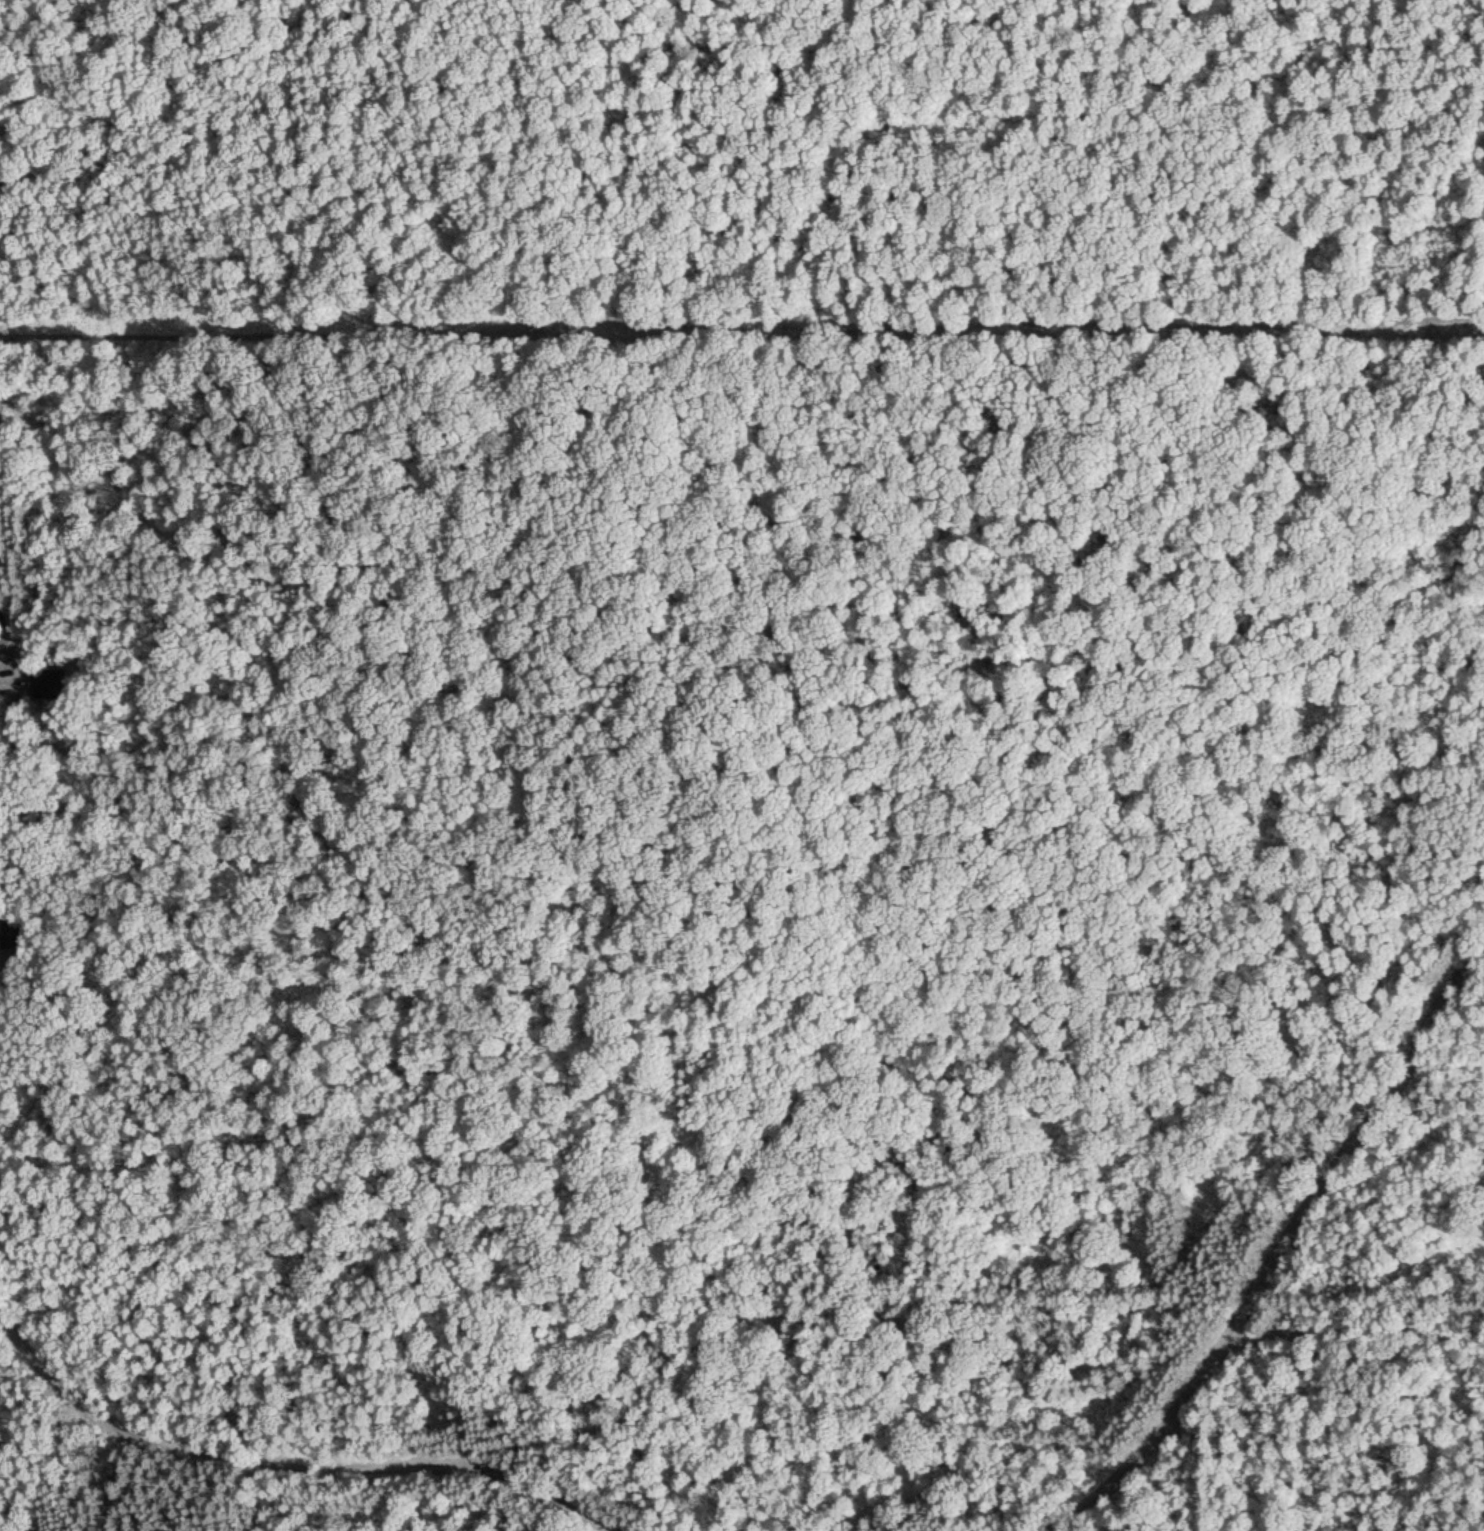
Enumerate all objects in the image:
building: (51, 681)
road: (23, 718)
building: (12, 931)
road: (52, 946)
road: (1276, 1254)
road: (1350, 1335)
road: (288, 1460)

